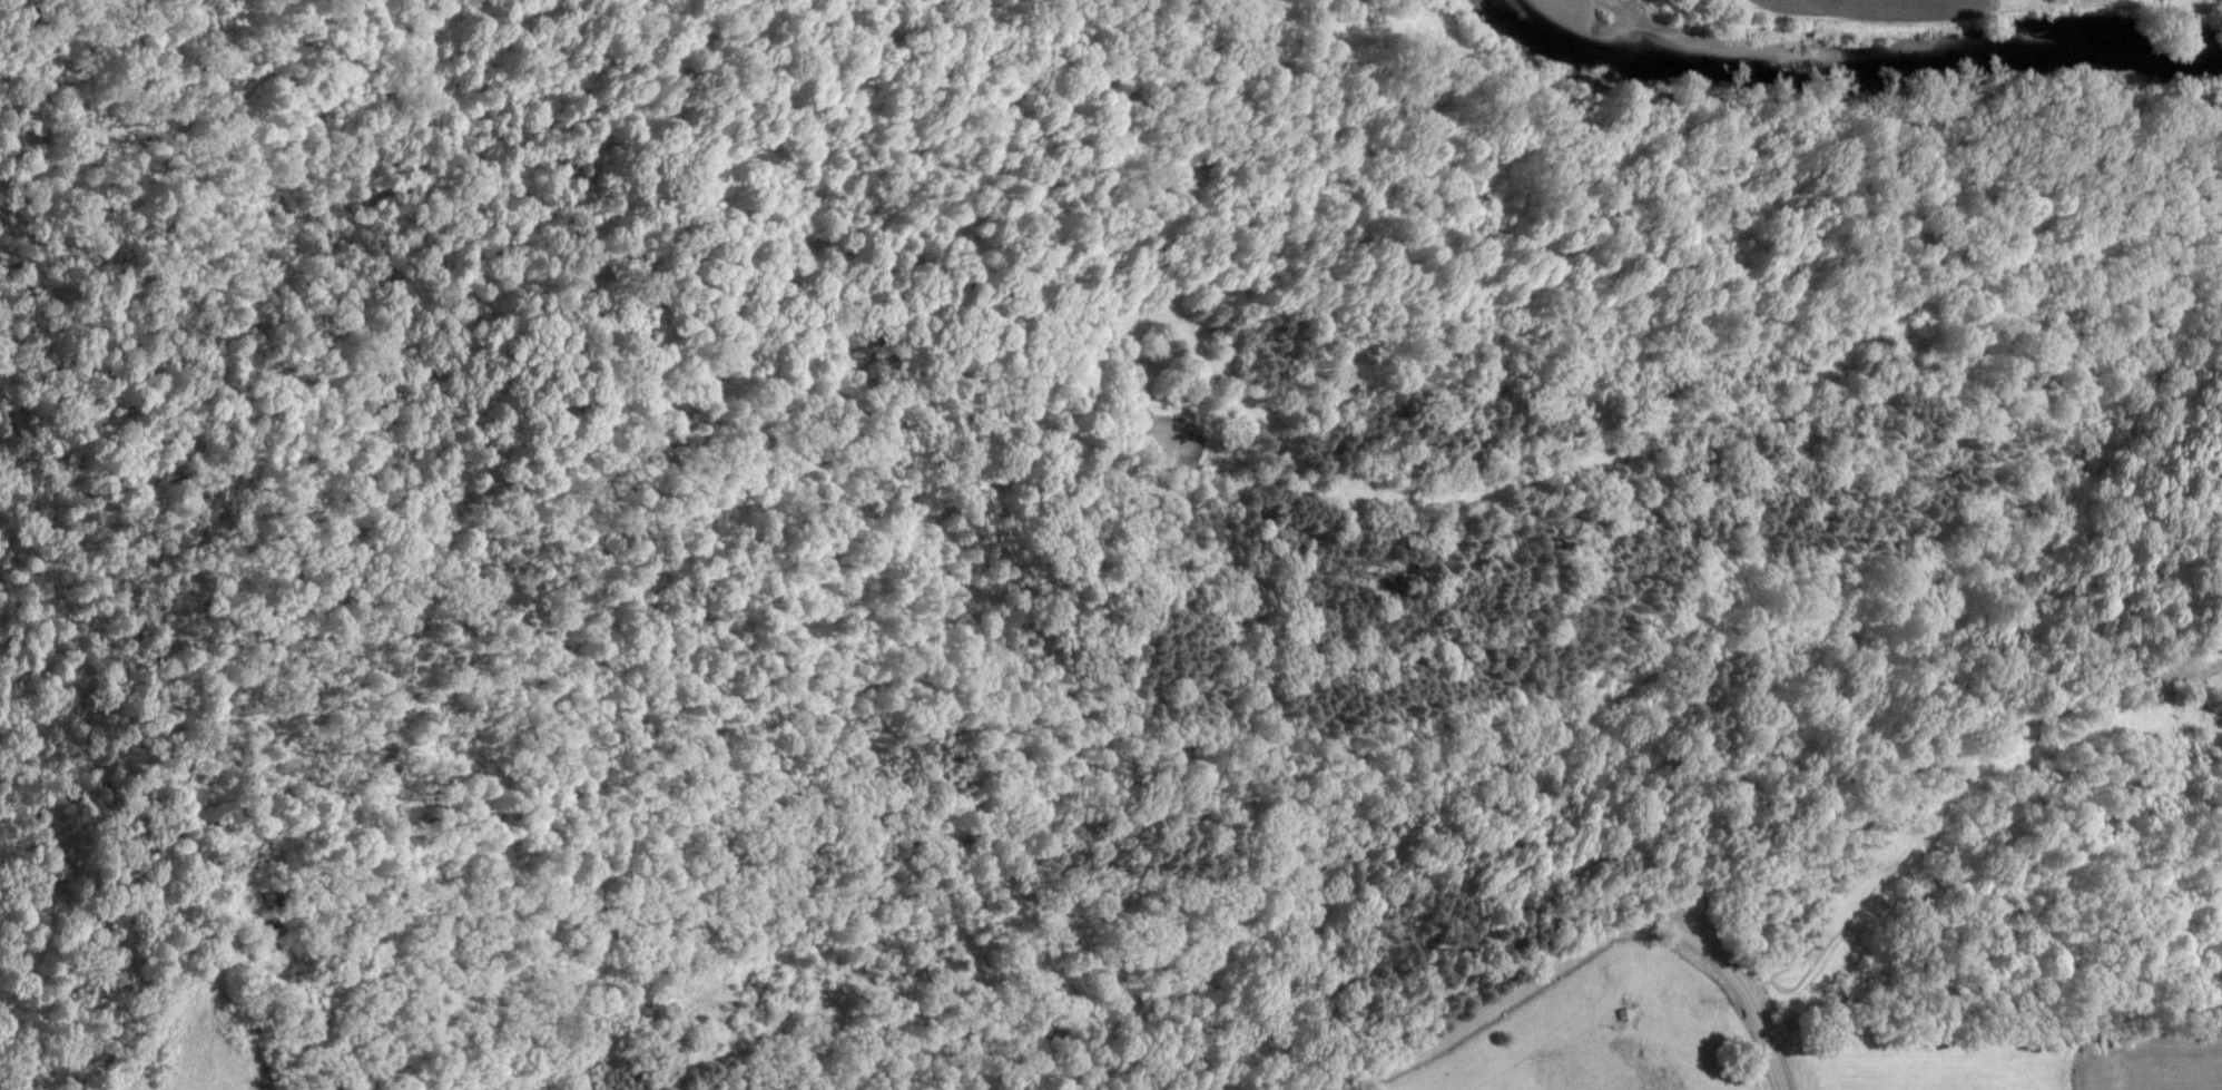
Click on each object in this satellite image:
river: (1860, 52)
road: (1936, 762)
road: (1600, 944)
crop: (1767, 1040)

